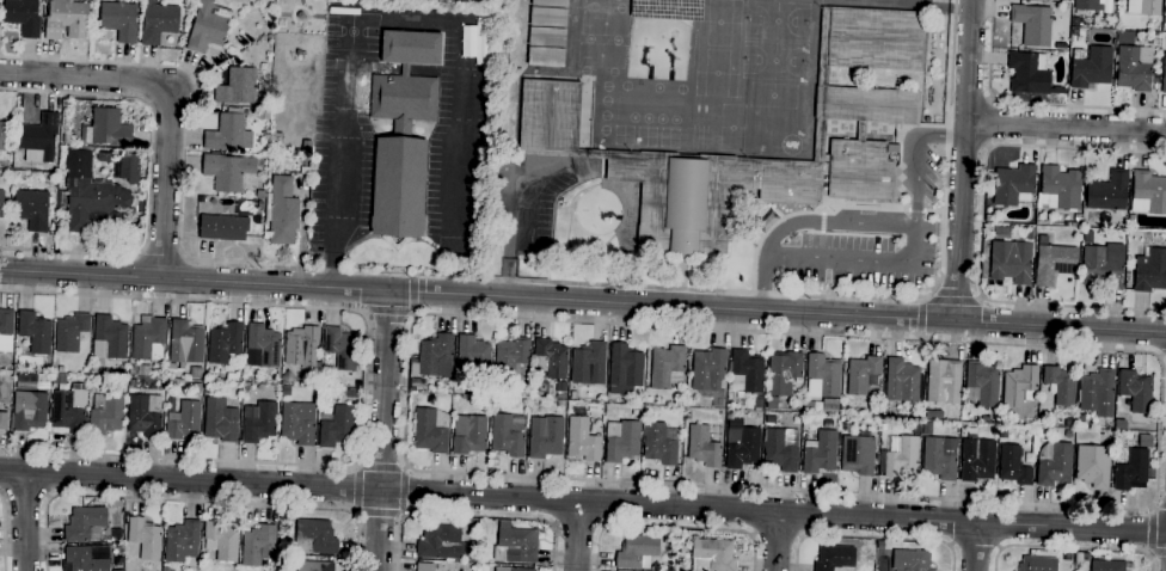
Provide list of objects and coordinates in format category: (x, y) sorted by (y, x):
building: (1087, 5)
building: (1143, 7)
building: (1165, 7)
building: (23, 17)
road: (409, 17)
building: (66, 19)
building: (118, 20)
building: (1075, 22)
building: (158, 23)
building: (1033, 24)
building: (1111, 24)
building: (208, 26)
building: (547, 33)
building: (1066, 55)
building: (1091, 67)
building: (1133, 68)
building: (1030, 74)
building: (1164, 75)
building: (238, 87)
road: (170, 94)
road: (1029, 106)
road: (986, 123)
road: (1064, 127)
building: (108, 128)
building: (225, 133)
building: (403, 133)
building: (548, 133)
building: (41, 136)
building: (2, 140)
building: (307, 147)
building: (105, 156)
road: (963, 160)
building: (306, 162)
building: (129, 167)
building: (227, 171)
road: (149, 173)
building: (1013, 185)
building: (1058, 189)
building: (1107, 191)
building: (1148, 192)
building: (260, 195)
building: (90, 196)
building: (1, 203)
building: (32, 209)
building: (281, 211)
building: (988, 217)
building: (1078, 219)
road: (872, 225)
road: (981, 227)
building: (223, 228)
road: (938, 228)
building: (1029, 233)
building: (1088, 237)
road: (515, 241)
road: (161, 253)
flagpole: (392, 253)
flagpole: (397, 253)
road: (858, 260)
building: (983, 260)
building: (1011, 262)
building: (1053, 262)
building: (1103, 266)
building: (1150, 271)
road: (517, 281)
road: (412, 297)
road: (952, 297)
road: (582, 301)
road: (386, 311)
road: (920, 320)
building: (6, 331)
building: (35, 331)
building: (70, 332)
building: (111, 336)
building: (148, 339)
building: (185, 343)
building: (225, 343)
building: (264, 344)
building: (302, 348)
building: (342, 348)
building: (473, 356)
building: (510, 356)
building: (434, 357)
road: (1162, 357)
building: (551, 358)
road: (1160, 358)
building: (588, 364)
building: (131, 367)
building: (667, 367)
building: (61, 369)
building: (143, 369)
building: (282, 369)
building: (625, 369)
building: (196, 373)
building: (745, 373)
building: (783, 373)
building: (708, 374)
building: (863, 374)
building: (822, 376)
building: (288, 377)
building: (311, 377)
building: (57, 379)
building: (246, 379)
building: (901, 381)
building: (944, 381)
building: (981, 383)
road: (364, 386)
building: (1020, 386)
building: (1060, 386)
building: (196, 388)
building: (560, 389)
building: (284, 391)
building: (1136, 391)
building: (1098, 393)
building: (351, 394)
building: (637, 399)
building: (771, 403)
building: (560, 404)
building: (757, 405)
building: (829, 405)
building: (808, 407)
building: (485, 409)
building: (29, 411)
building: (876, 411)
building: (68, 412)
building: (634, 412)
building: (885, 412)
building: (105, 413)
building: (933, 415)
building: (145, 416)
building: (688, 416)
building: (729, 417)
building: (182, 419)
building: (220, 420)
building: (4, 422)
building: (258, 422)
building: (1030, 422)
building: (297, 423)
building: (1070, 423)
building: (1119, 425)
building: (337, 428)
building: (883, 428)
building: (916, 429)
road: (383, 430)
building: (431, 430)
building: (1002, 432)
building: (1041, 434)
building: (1068, 434)
building: (468, 435)
building: (508, 435)
building: (545, 436)
building: (582, 440)
building: (621, 441)
building: (1144, 441)
building: (659, 443)
building: (702, 447)
building: (742, 447)
building: (781, 449)
building: (820, 453)
building: (858, 454)
building: (898, 456)
building: (940, 458)
building: (976, 460)
building: (1054, 465)
building: (1013, 466)
building: (1093, 466)
building: (1133, 471)
road: (405, 491)
road: (2, 493)
road: (25, 493)
road: (48, 497)
road: (583, 501)
road: (194, 502)
road: (379, 514)
road: (474, 516)
road: (25, 521)
building: (84, 523)
road: (577, 526)
road: (671, 527)
road: (1152, 530)
building: (116, 533)
road: (777, 533)
road: (2, 535)
road: (577, 535)
building: (145, 538)
building: (315, 538)
road: (872, 538)
road: (775, 540)
building: (182, 541)
building: (221, 541)
building: (441, 544)
building: (515, 545)
building: (879, 545)
road: (975, 546)
road: (975, 546)
building: (119, 547)
building: (258, 547)
road: (1070, 548)
building: (637, 552)
road: (1156, 553)
building: (712, 555)
building: (1066, 555)
building: (835, 558)
building: (82, 560)
building: (910, 560)
building: (1038, 564)
building: (313, 566)
building: (424, 566)
building: (1107, 566)
building: (165, 569)
building: (521, 570)

